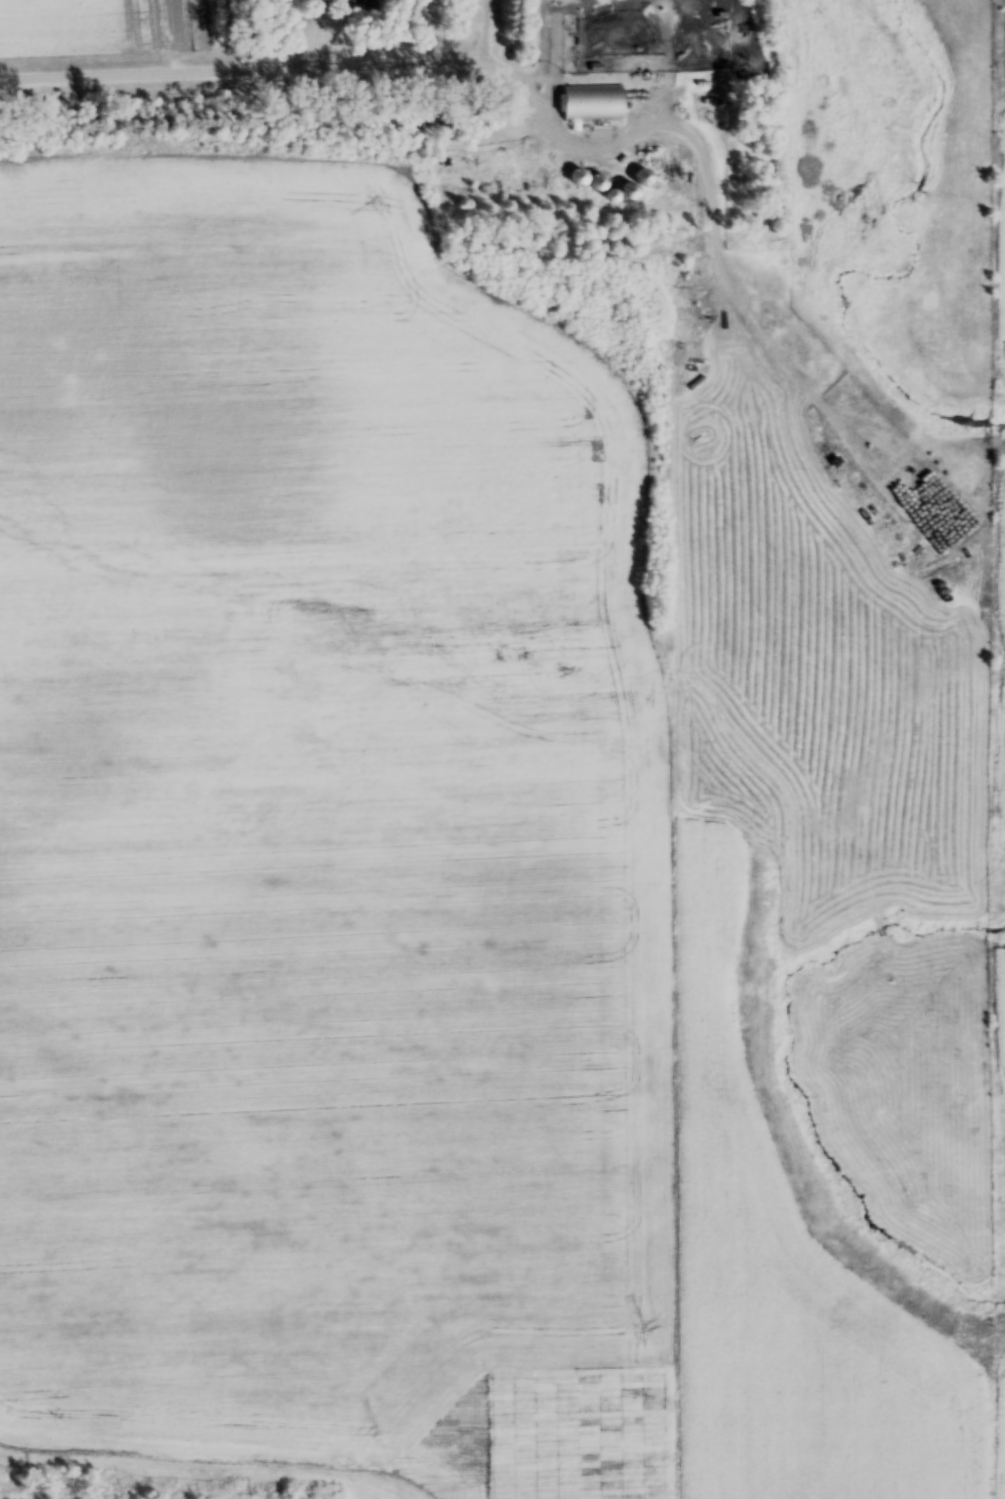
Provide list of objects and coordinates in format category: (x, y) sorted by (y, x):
building: (311, 1)
building: (369, 4)
road: (274, 67)
building: (599, 95)
building: (588, 186)

